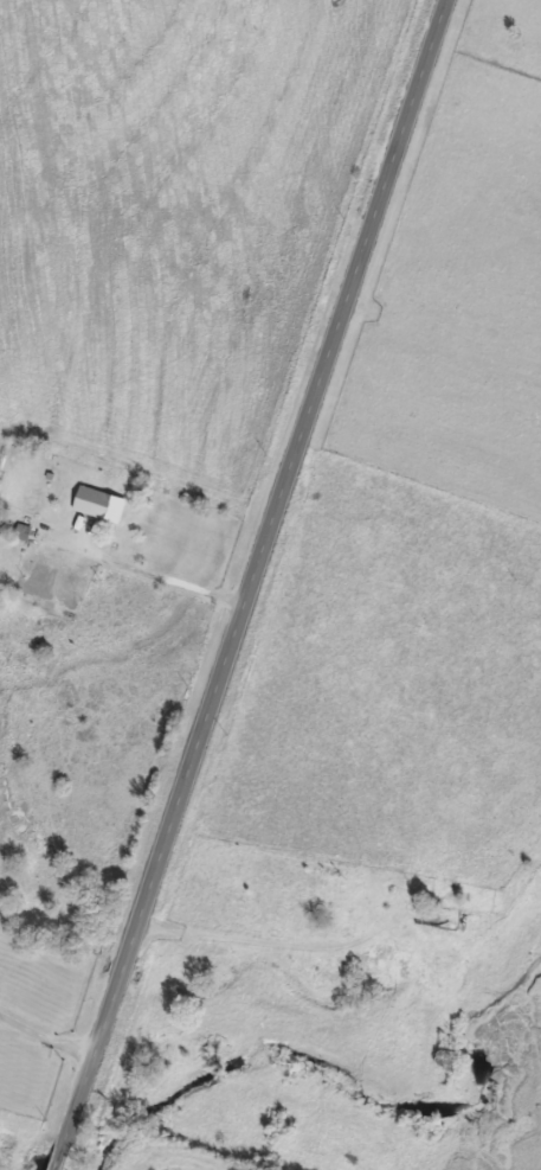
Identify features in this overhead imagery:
building: (96, 504)
road: (157, 576)
road: (251, 584)
road: (44, 1042)

